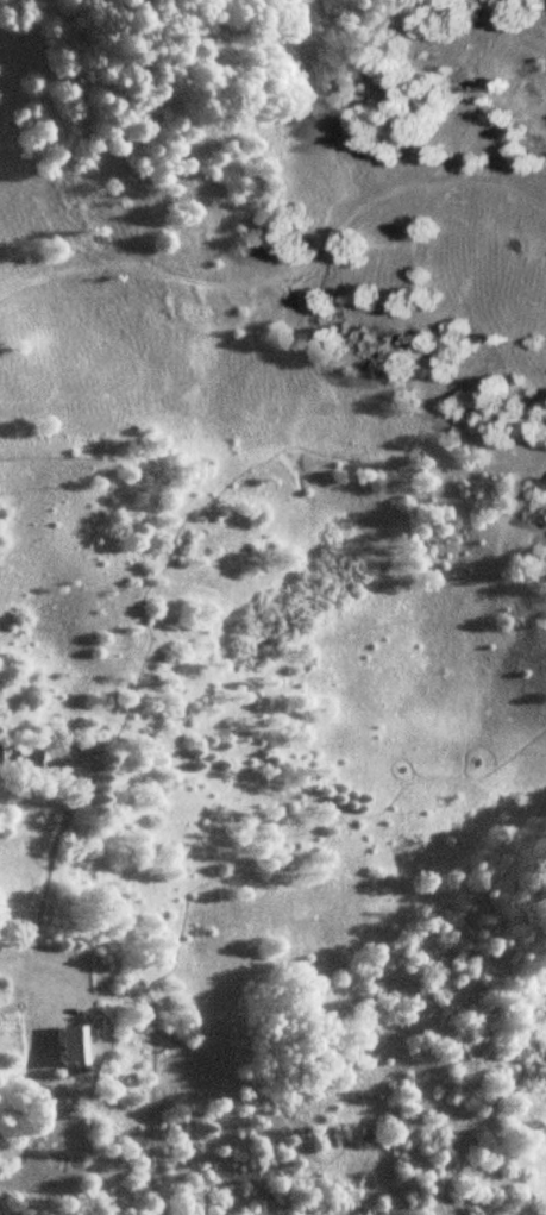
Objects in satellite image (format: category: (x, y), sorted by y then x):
building: (32, 754)
building: (10, 1028)
building: (68, 1046)

